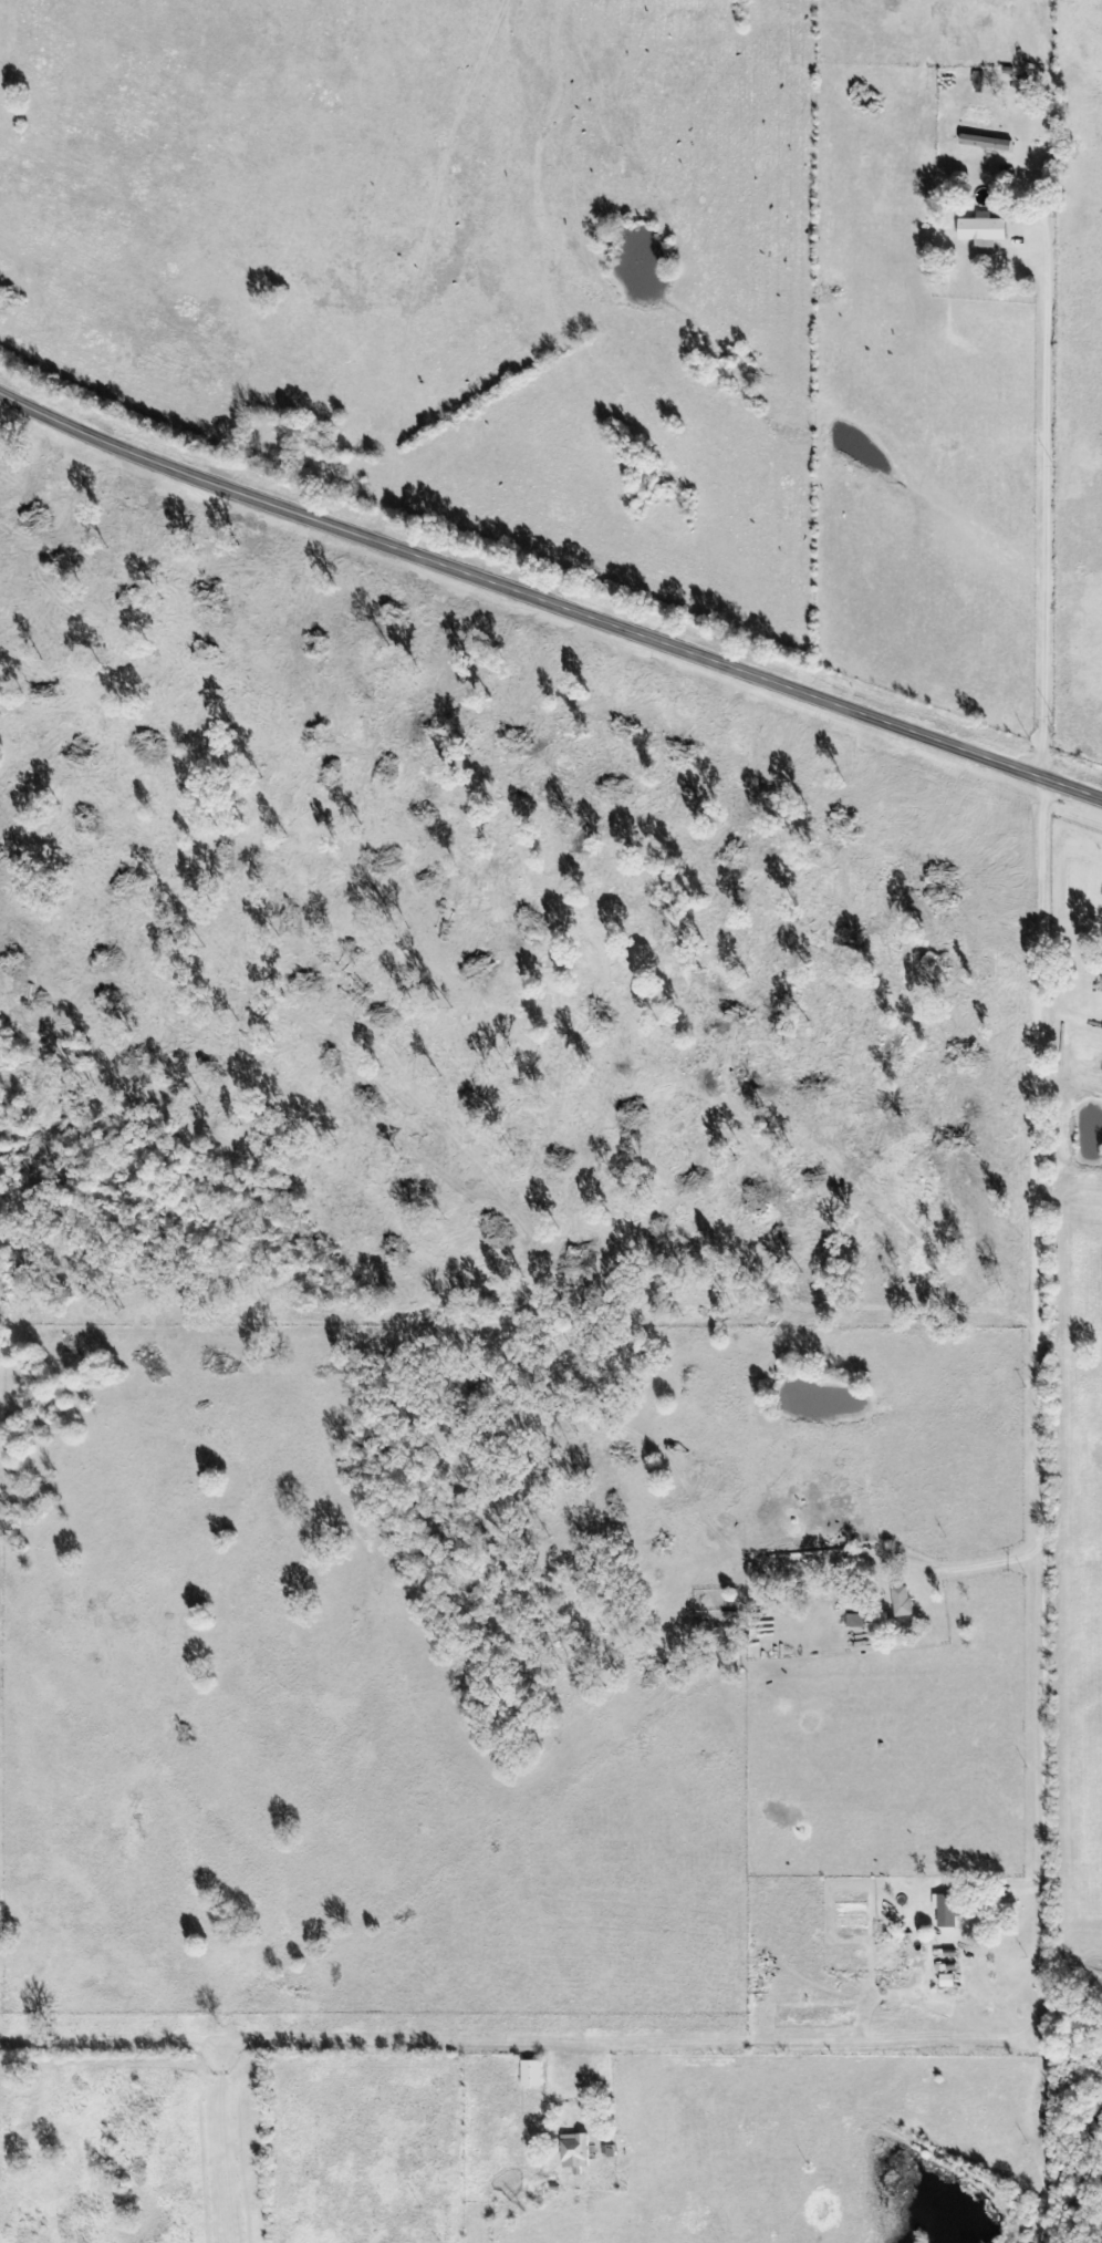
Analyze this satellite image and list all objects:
building: (986, 144)
building: (983, 231)
road: (1046, 467)
road: (547, 597)
building: (902, 1604)
building: (859, 1623)
road: (1049, 1704)
building: (946, 1911)
building: (946, 1982)
road: (216, 2047)
building: (532, 2075)
building: (575, 2152)

